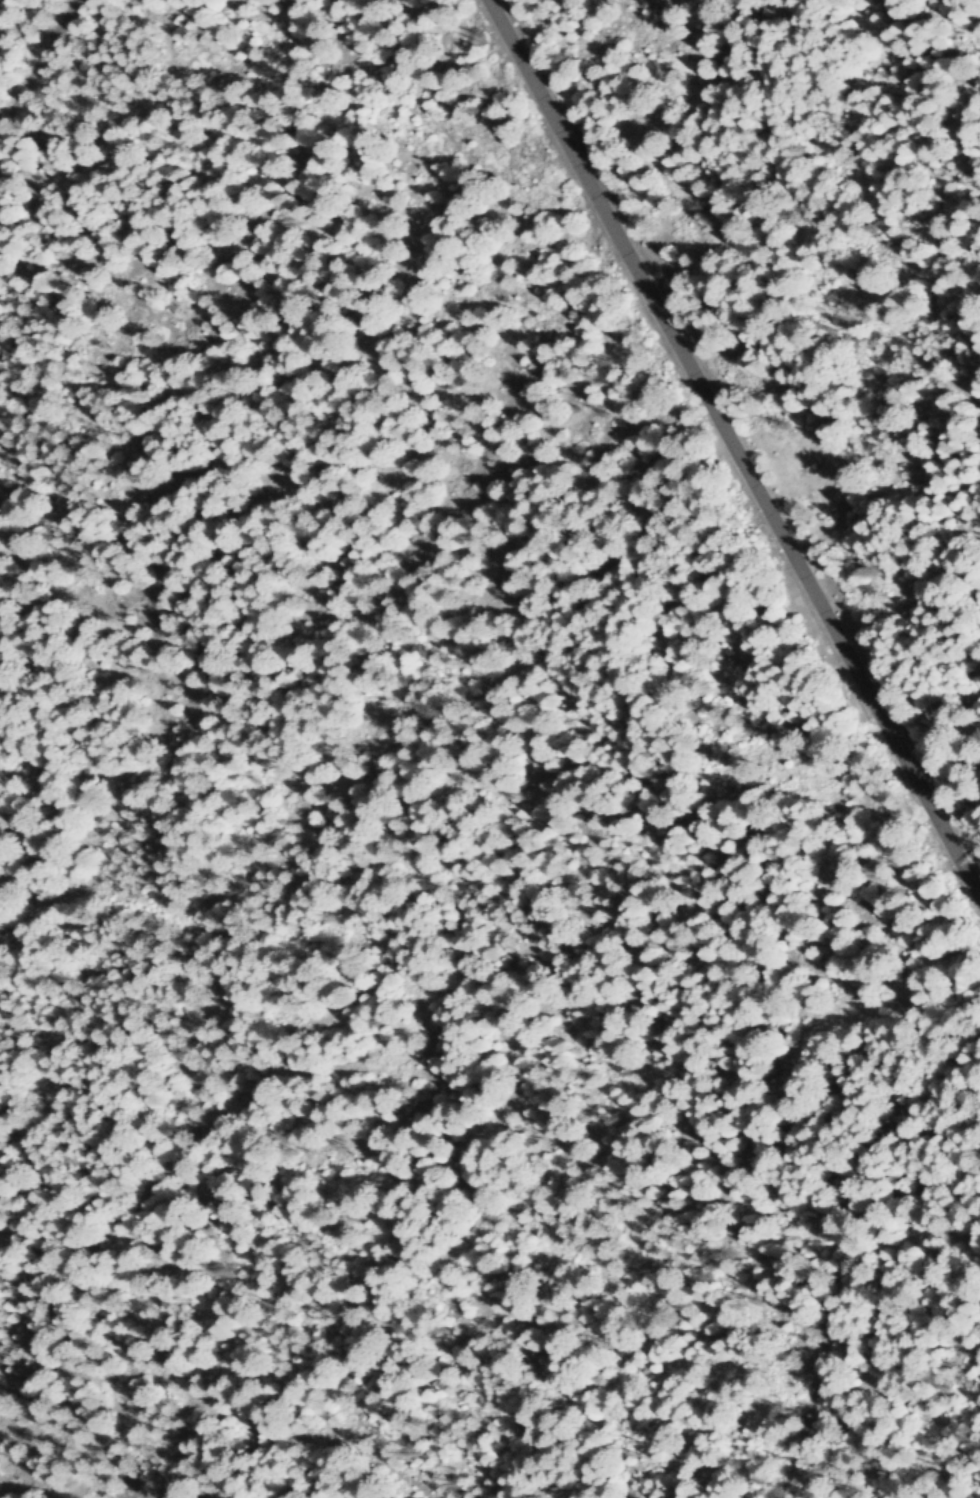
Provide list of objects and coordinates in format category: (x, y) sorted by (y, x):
road: (38, 65)
road: (735, 448)

